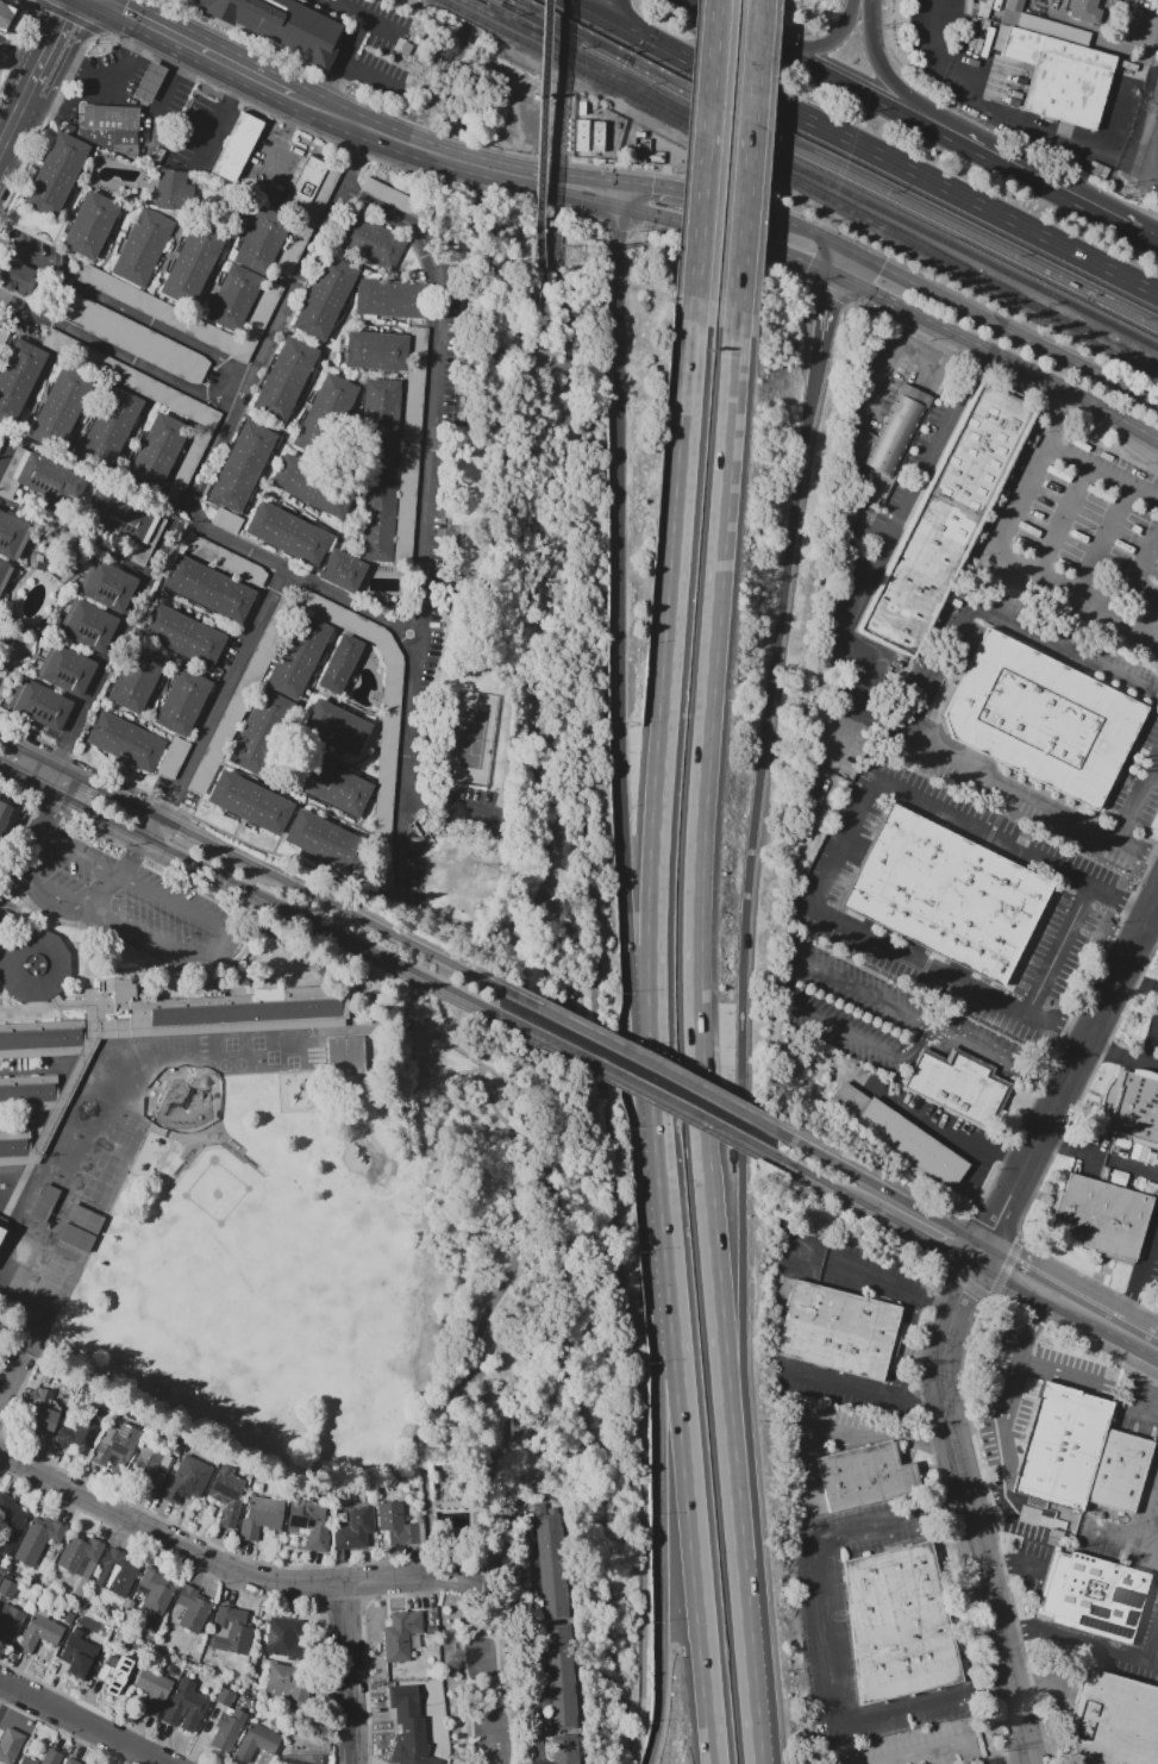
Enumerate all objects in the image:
road: (24, 0)
traffic signals: (571, 0)
railway: (449, 4)
railway: (475, 6)
building: (1084, 10)
road: (595, 11)
road: (616, 11)
building: (4, 15)
railway: (472, 15)
road: (69, 17)
road: (367, 19)
building: (281, 25)
road: (731, 25)
road: (57, 30)
railway: (568, 31)
road: (255, 39)
road: (832, 43)
road: (20, 50)
road: (209, 54)
road: (340, 62)
building: (1056, 65)
railway: (650, 67)
road: (176, 74)
road: (33, 77)
road: (109, 77)
road: (369, 79)
building: (151, 83)
road: (896, 86)
parking lot: (126, 87)
road: (237, 98)
road: (875, 98)
road: (224, 114)
road: (997, 115)
road: (12, 120)
building: (112, 123)
building: (618, 125)
building: (150, 131)
road: (378, 133)
building: (640, 133)
parking lot: (200, 135)
building: (588, 135)
road: (281, 143)
building: (238, 146)
building: (656, 157)
road: (888, 157)
road: (707, 159)
road: (1154, 159)
parking lot: (270, 164)
road: (468, 164)
railway: (826, 165)
road: (753, 173)
building: (56, 175)
road: (540, 176)
road: (1154, 176)
road: (519, 177)
road: (587, 179)
railway: (822, 179)
building: (303, 183)
traffic signals: (633, 184)
road: (1057, 188)
building: (174, 190)
road: (684, 192)
railway: (822, 195)
road: (628, 196)
road: (73, 202)
building: (396, 205)
traffic signals: (625, 208)
road: (159, 211)
building: (308, 219)
road: (689, 223)
road: (791, 223)
building: (89, 225)
railway: (970, 226)
road: (551, 230)
road: (1151, 234)
building: (261, 240)
building: (369, 240)
building: (143, 248)
traffic signals: (846, 248)
parking lot: (33, 250)
power tower: (571, 254)
power tower: (453, 257)
road: (220, 261)
road: (840, 262)
building: (192, 264)
traffic signals: (834, 276)
road: (398, 279)
building: (19, 280)
road: (132, 284)
road: (866, 293)
building: (233, 298)
building: (325, 298)
building: (393, 299)
road: (55, 300)
building: (76, 309)
road: (125, 311)
building: (167, 313)
road: (826, 314)
road: (390, 326)
road: (1001, 326)
building: (5, 337)
building: (146, 344)
road: (7, 348)
building: (375, 351)
road: (118, 354)
road: (905, 358)
road: (344, 374)
road: (1028, 376)
building: (19, 377)
building: (286, 377)
road: (556, 380)
parking lot: (224, 383)
road: (313, 383)
road: (428, 384)
road: (40, 393)
road: (137, 394)
road: (565, 394)
building: (60, 406)
building: (327, 417)
road: (86, 418)
building: (208, 418)
building: (380, 423)
building: (109, 429)
building: (897, 430)
road: (134, 443)
building: (411, 444)
road: (4, 455)
building: (159, 455)
building: (242, 468)
road: (1102, 475)
building: (312, 486)
building: (87, 498)
building: (946, 514)
building: (378, 515)
road: (1063, 521)
road: (324, 523)
road: (869, 524)
building: (287, 533)
building: (12, 534)
road: (227, 539)
road: (893, 539)
parking lot: (1077, 539)
road: (1108, 543)
road: (999, 556)
building: (224, 557)
building: (343, 570)
building: (4, 573)
road: (1146, 574)
building: (107, 586)
building: (208, 588)
road: (202, 615)
building: (88, 625)
building: (184, 636)
parking lot: (436, 637)
road: (132, 640)
road: (109, 651)
building: (299, 655)
parking lot: (231, 656)
road: (181, 659)
building: (339, 663)
building: (65, 668)
road: (321, 669)
road: (625, 675)
building: (136, 678)
road: (227, 684)
road: (270, 688)
road: (161, 690)
road: (258, 693)
building: (243, 695)
road: (569, 696)
road: (584, 696)
building: (182, 702)
road: (924, 702)
building: (40, 706)
road: (359, 709)
building: (1040, 718)
road: (149, 725)
building: (336, 726)
road: (666, 730)
building: (390, 731)
building: (262, 732)
park: (470, 739)
road: (8, 742)
building: (125, 742)
road: (323, 753)
road: (4, 757)
building: (173, 757)
road: (39, 771)
road: (134, 775)
road: (376, 780)
building: (326, 782)
road: (117, 793)
parking lot: (176, 794)
road: (298, 797)
building: (252, 802)
road: (52, 807)
road: (1140, 807)
building: (4, 813)
road: (289, 826)
road: (154, 828)
road: (198, 831)
building: (426, 831)
building: (325, 840)
power tower: (412, 840)
road: (851, 842)
road: (129, 865)
power tower: (490, 874)
road: (349, 882)
road: (131, 883)
road: (38, 884)
road: (11, 886)
road: (581, 887)
park: (465, 888)
building: (946, 894)
parking lot: (127, 895)
road: (276, 905)
road: (547, 906)
road: (363, 915)
road: (1150, 926)
road: (520, 940)
road: (144, 944)
road: (1060, 947)
road: (311, 956)
building: (33, 964)
road: (701, 974)
road: (747, 976)
road: (1137, 981)
road: (791, 994)
building: (204, 1011)
road: (362, 1027)
building: (40, 1038)
road: (520, 1039)
road: (1153, 1053)
building: (345, 1055)
road: (634, 1055)
road: (1120, 1056)
road: (995, 1059)
road: (1066, 1075)
road: (634, 1083)
building: (957, 1083)
building: (29, 1093)
building: (1137, 1107)
road: (938, 1128)
building: (899, 1134)
building: (14, 1146)
road: (1097, 1153)
building: (100, 1180)
road: (827, 1184)
road: (880, 1184)
building: (92, 1199)
building: (43, 1201)
road: (663, 1214)
building: (1101, 1215)
building: (1, 1227)
building: (73, 1236)
road: (927, 1238)
building: (5, 1244)
park: (231, 1252)
road: (619, 1259)
road: (1141, 1263)
road: (1054, 1281)
road: (1014, 1282)
road: (880, 1287)
building: (46, 1291)
park: (211, 1308)
road: (482, 1325)
road: (1141, 1327)
building: (837, 1330)
road: (1104, 1331)
road: (895, 1344)
road: (919, 1350)
road: (1156, 1352)
road: (10, 1380)
road: (1098, 1385)
road: (1015, 1389)
road: (900, 1391)
road: (868, 1393)
road: (1144, 1407)
building: (43, 1413)
road: (835, 1427)
building: (82, 1430)
power tower: (511, 1431)
building: (115, 1446)
power tower: (430, 1452)
building: (1079, 1453)
building: (150, 1466)
building: (864, 1475)
building: (188, 1478)
building: (227, 1495)
road: (1013, 1502)
road: (975, 1512)
building: (261, 1516)
building: (309, 1521)
building: (10, 1522)
building: (395, 1522)
building: (355, 1526)
road: (664, 1526)
road: (689, 1526)
road: (1147, 1527)
building: (38, 1539)
road: (1120, 1541)
building: (79, 1552)
road: (206, 1559)
building: (547, 1563)
road: (1013, 1564)
building: (115, 1574)
building: (0, 1578)
road: (480, 1584)
building: (7, 1589)
building: (1096, 1596)
building: (154, 1601)
building: (193, 1612)
building: (79, 1624)
building: (900, 1624)
building: (10, 1626)
building: (227, 1627)
building: (401, 1632)
building: (38, 1634)
building: (282, 1638)
road: (830, 1641)
road: (1087, 1644)
building: (89, 1645)
building: (80, 1668)
building: (105, 1674)
road: (345, 1674)
road: (536, 1674)
building: (558, 1676)
building: (286, 1681)
road: (755, 1683)
building: (152, 1690)
building: (224, 1696)
building: (184, 1706)
building: (1114, 1720)
road: (80, 1722)
building: (227, 1728)
building: (411, 1737)
building: (257, 1741)
building: (11, 1746)
building: (564, 1749)
road: (933, 1751)
building: (302, 1756)
building: (52, 1758)
building: (26, 1762)
building: (70, 1762)
road: (1022, 1762)

